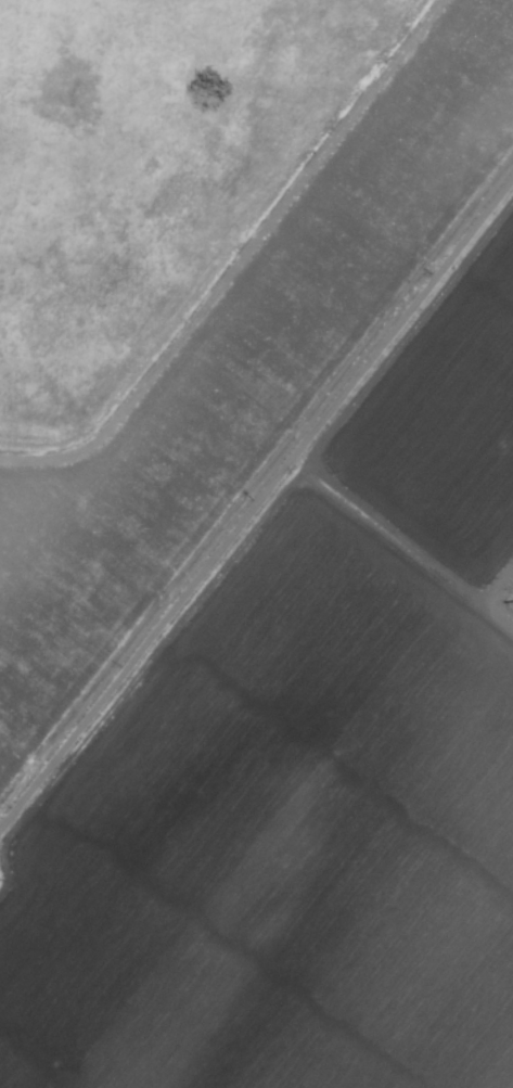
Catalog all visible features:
road: (256, 508)
crop: (256, 543)

